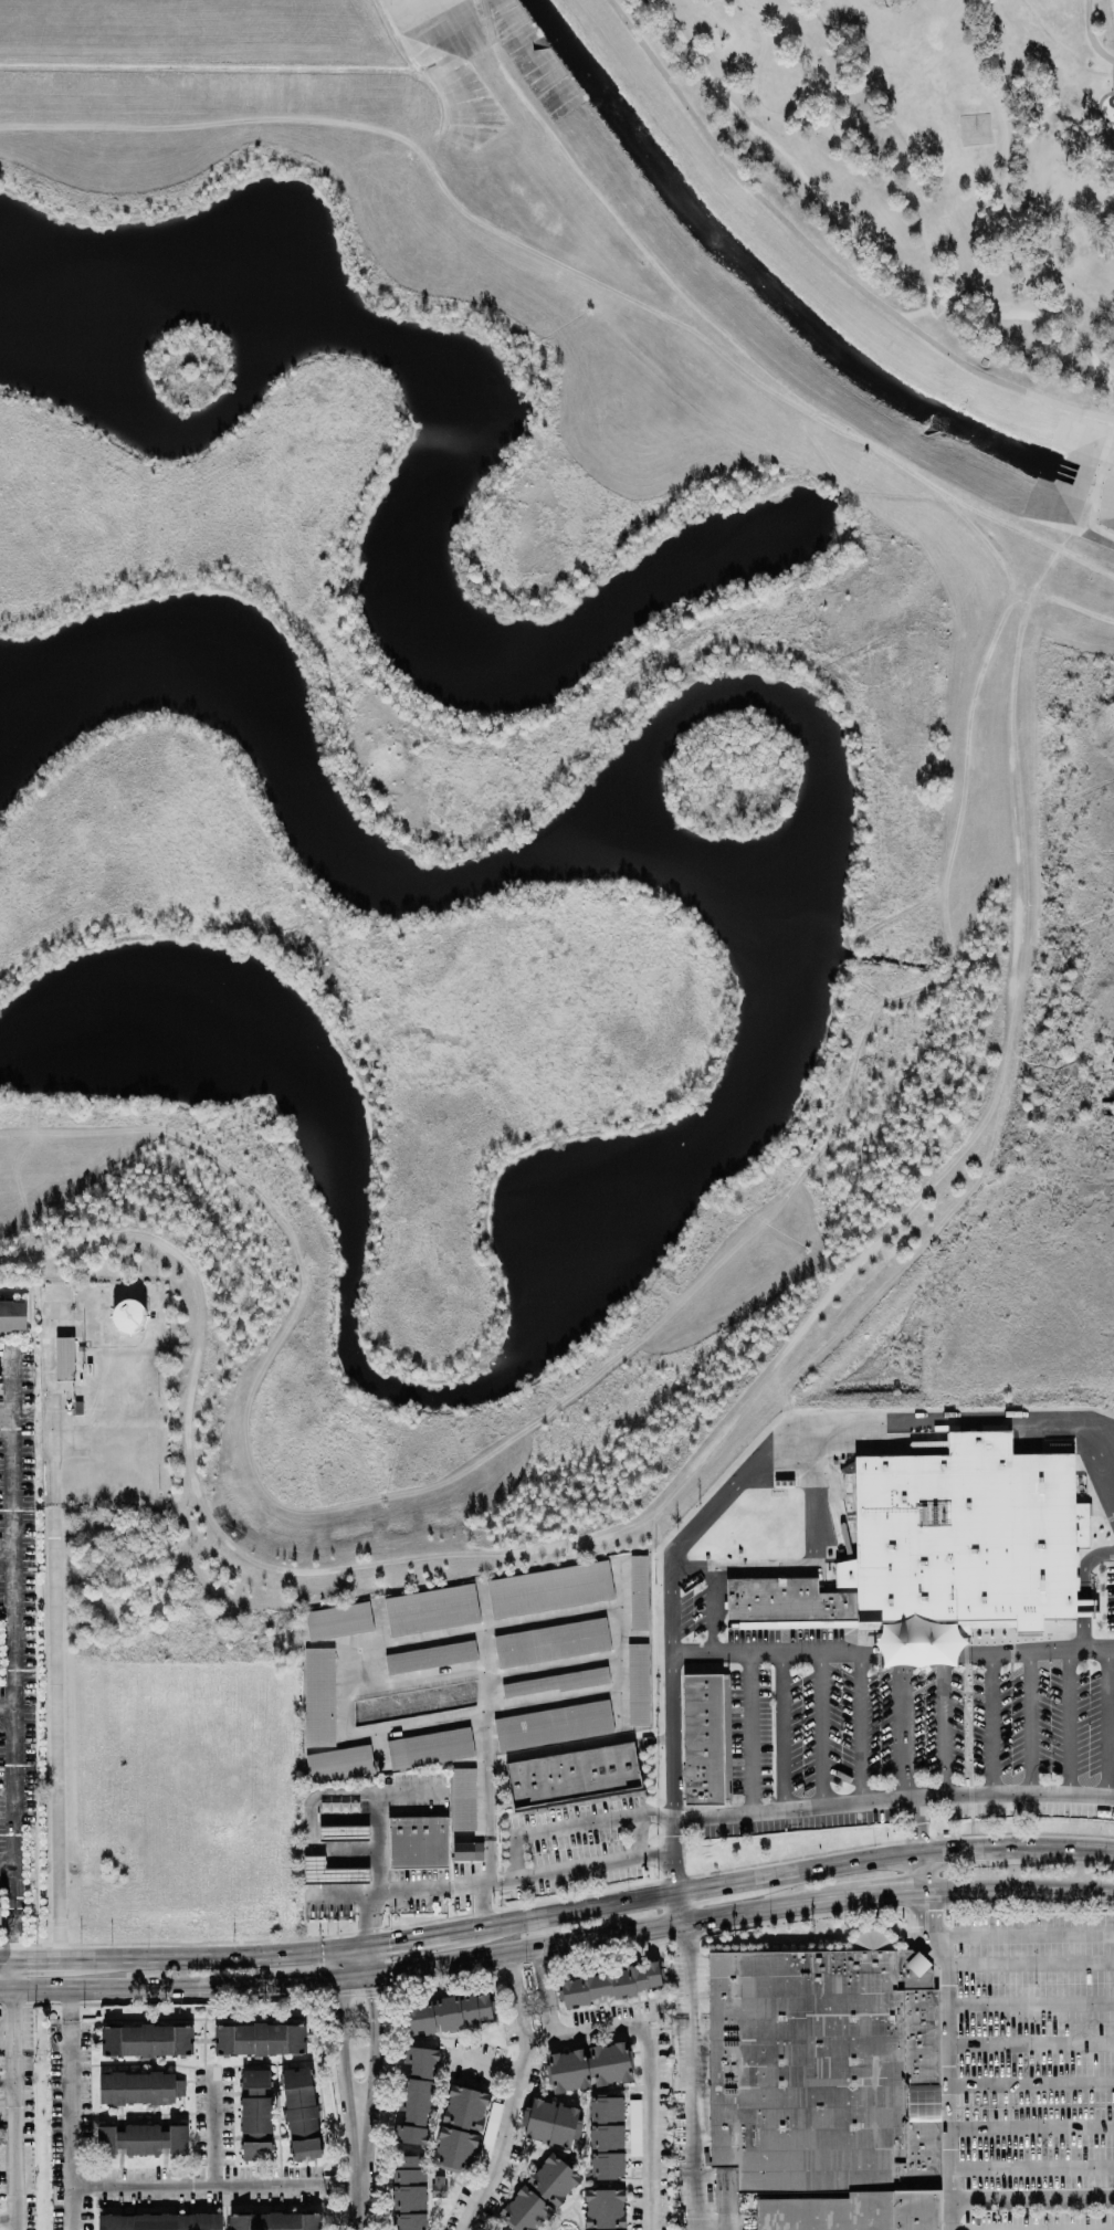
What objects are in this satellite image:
road: (1087, 36)
road: (831, 138)
road: (1001, 179)
park: (907, 183)
road: (828, 211)
road: (820, 260)
road: (969, 294)
river: (788, 296)
road: (1026, 306)
road: (1057, 311)
road: (1110, 326)
road: (1074, 341)
road: (1099, 366)
building: (12, 1315)
building: (63, 1358)
road: (6, 1412)
road: (1113, 1429)
road: (1113, 1440)
road: (1090, 1463)
road: (724, 1493)
building: (964, 1535)
road: (6, 1553)
road: (817, 1566)
building: (548, 1588)
road: (1083, 1588)
building: (638, 1593)
building: (786, 1605)
building: (1084, 1608)
building: (431, 1609)
road: (713, 1609)
building: (337, 1622)
road: (380, 1622)
road: (486, 1627)
road: (623, 1641)
building: (550, 1642)
road: (12, 1652)
road: (892, 1655)
building: (430, 1658)
road: (555, 1666)
road: (53, 1675)
road: (417, 1680)
building: (556, 1682)
building: (638, 1684)
road: (347, 1692)
building: (319, 1697)
road: (7, 1706)
road: (485, 1708)
road: (992, 1722)
road: (1029, 1722)
road: (1068, 1722)
road: (1108, 1722)
road: (943, 1723)
building: (553, 1725)
road: (903, 1726)
road: (820, 1727)
road: (860, 1728)
road: (781, 1731)
road: (749, 1732)
building: (701, 1738)
building: (430, 1748)
road: (484, 1754)
building: (339, 1764)
building: (574, 1774)
road: (410, 1791)
road: (892, 1798)
building: (464, 1799)
road: (309, 1817)
road: (917, 1823)
road: (571, 1824)
road: (637, 1834)
building: (419, 1841)
road: (377, 1844)
building: (466, 1850)
road: (928, 1851)
road: (7, 1865)
building: (330, 1872)
road: (921, 1872)
road: (487, 1882)
road: (710, 1887)
building: (0, 1900)
road: (677, 1907)
road: (740, 1912)
road: (931, 1912)
road: (566, 1914)
road: (917, 1914)
road: (372, 1921)
road: (1020, 1934)
road: (413, 1938)
traffic signals: (370, 1945)
traffic signals: (330, 1950)
road: (185, 1953)
road: (370, 1960)
road: (1029, 1963)
road: (330, 1966)
road: (690, 1968)
road: (13, 1971)
traffic signals: (371, 1976)
road: (351, 1978)
traffic signals: (332, 1981)
building: (609, 1984)
road: (166, 1987)
road: (543, 1991)
road: (517, 1997)
road: (532, 2001)
road: (1029, 2002)
building: (448, 2013)
road: (590, 2030)
building: (259, 2039)
building: (146, 2040)
road: (1030, 2042)
road: (479, 2061)
building: (609, 2063)
building: (567, 2071)
road: (371, 2078)
building: (254, 2079)
road: (946, 2080)
road: (7, 2081)
road: (340, 2081)
road: (1030, 2081)
building: (827, 2085)
building: (136, 2087)
building: (416, 2096)
road: (13, 2108)
road: (70, 2108)
building: (301, 2113)
building: (255, 2114)
building: (550, 2122)
road: (693, 2123)
road: (1030, 2126)
road: (214, 2127)
building: (634, 2127)
building: (490, 2128)
building: (459, 2129)
building: (606, 2137)
building: (141, 2139)
building: (259, 2150)
road: (1031, 2166)
road: (217, 2185)
building: (438, 2186)
building: (408, 2192)
building: (538, 2195)
road: (1031, 2199)
road: (361, 2205)
building: (603, 2209)
road: (7, 2218)
building: (158, 2221)
building: (275, 2221)

